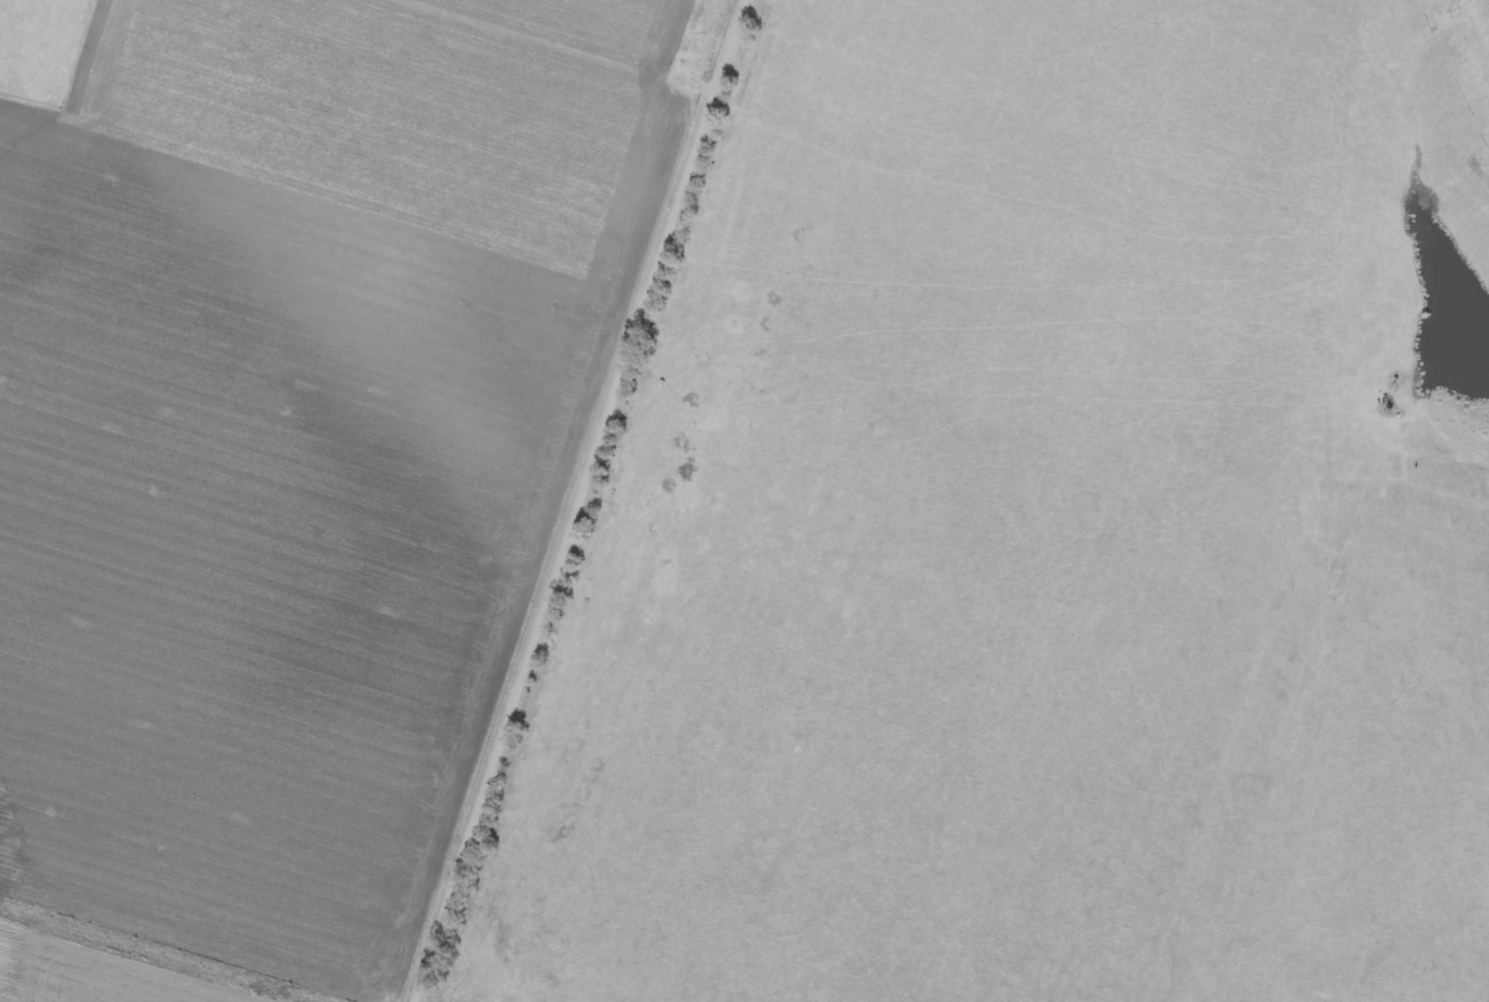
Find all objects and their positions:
road: (604, 501)

